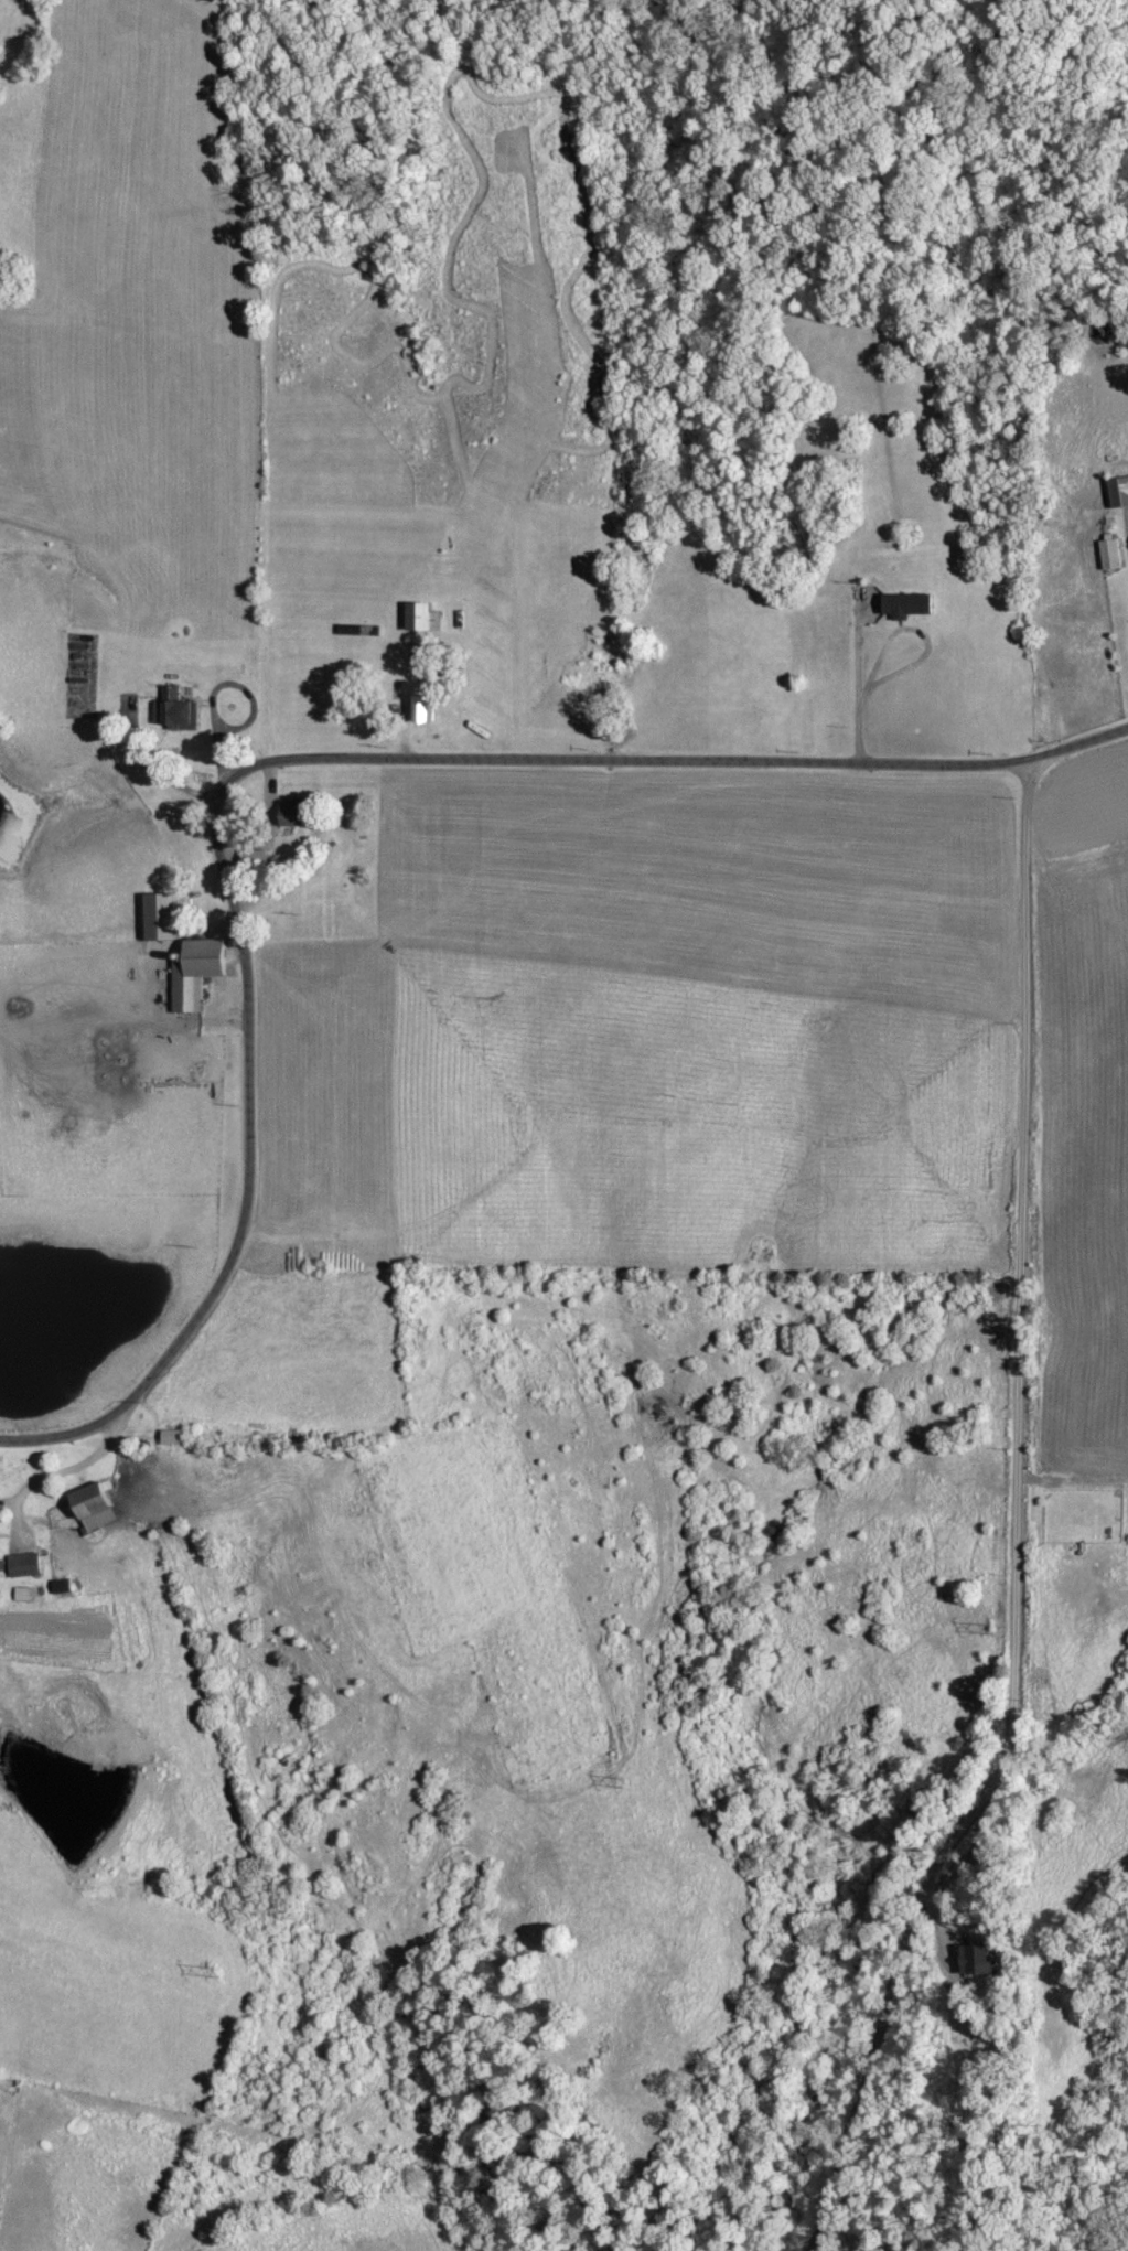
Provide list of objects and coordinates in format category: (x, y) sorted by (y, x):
building: (1120, 494)
building: (1111, 556)
building: (906, 607)
building: (426, 619)
road: (855, 677)
building: (176, 712)
road: (482, 716)
road: (273, 754)
building: (253, 860)
building: (162, 919)
building: (198, 973)
building: (175, 1438)
road: (58, 1476)
building: (98, 1507)
road: (1016, 1522)
building: (25, 1566)
building: (64, 1587)
building: (23, 1595)
power tower: (993, 1627)
power tower: (626, 1782)
building: (980, 1961)
power tower: (222, 1972)

